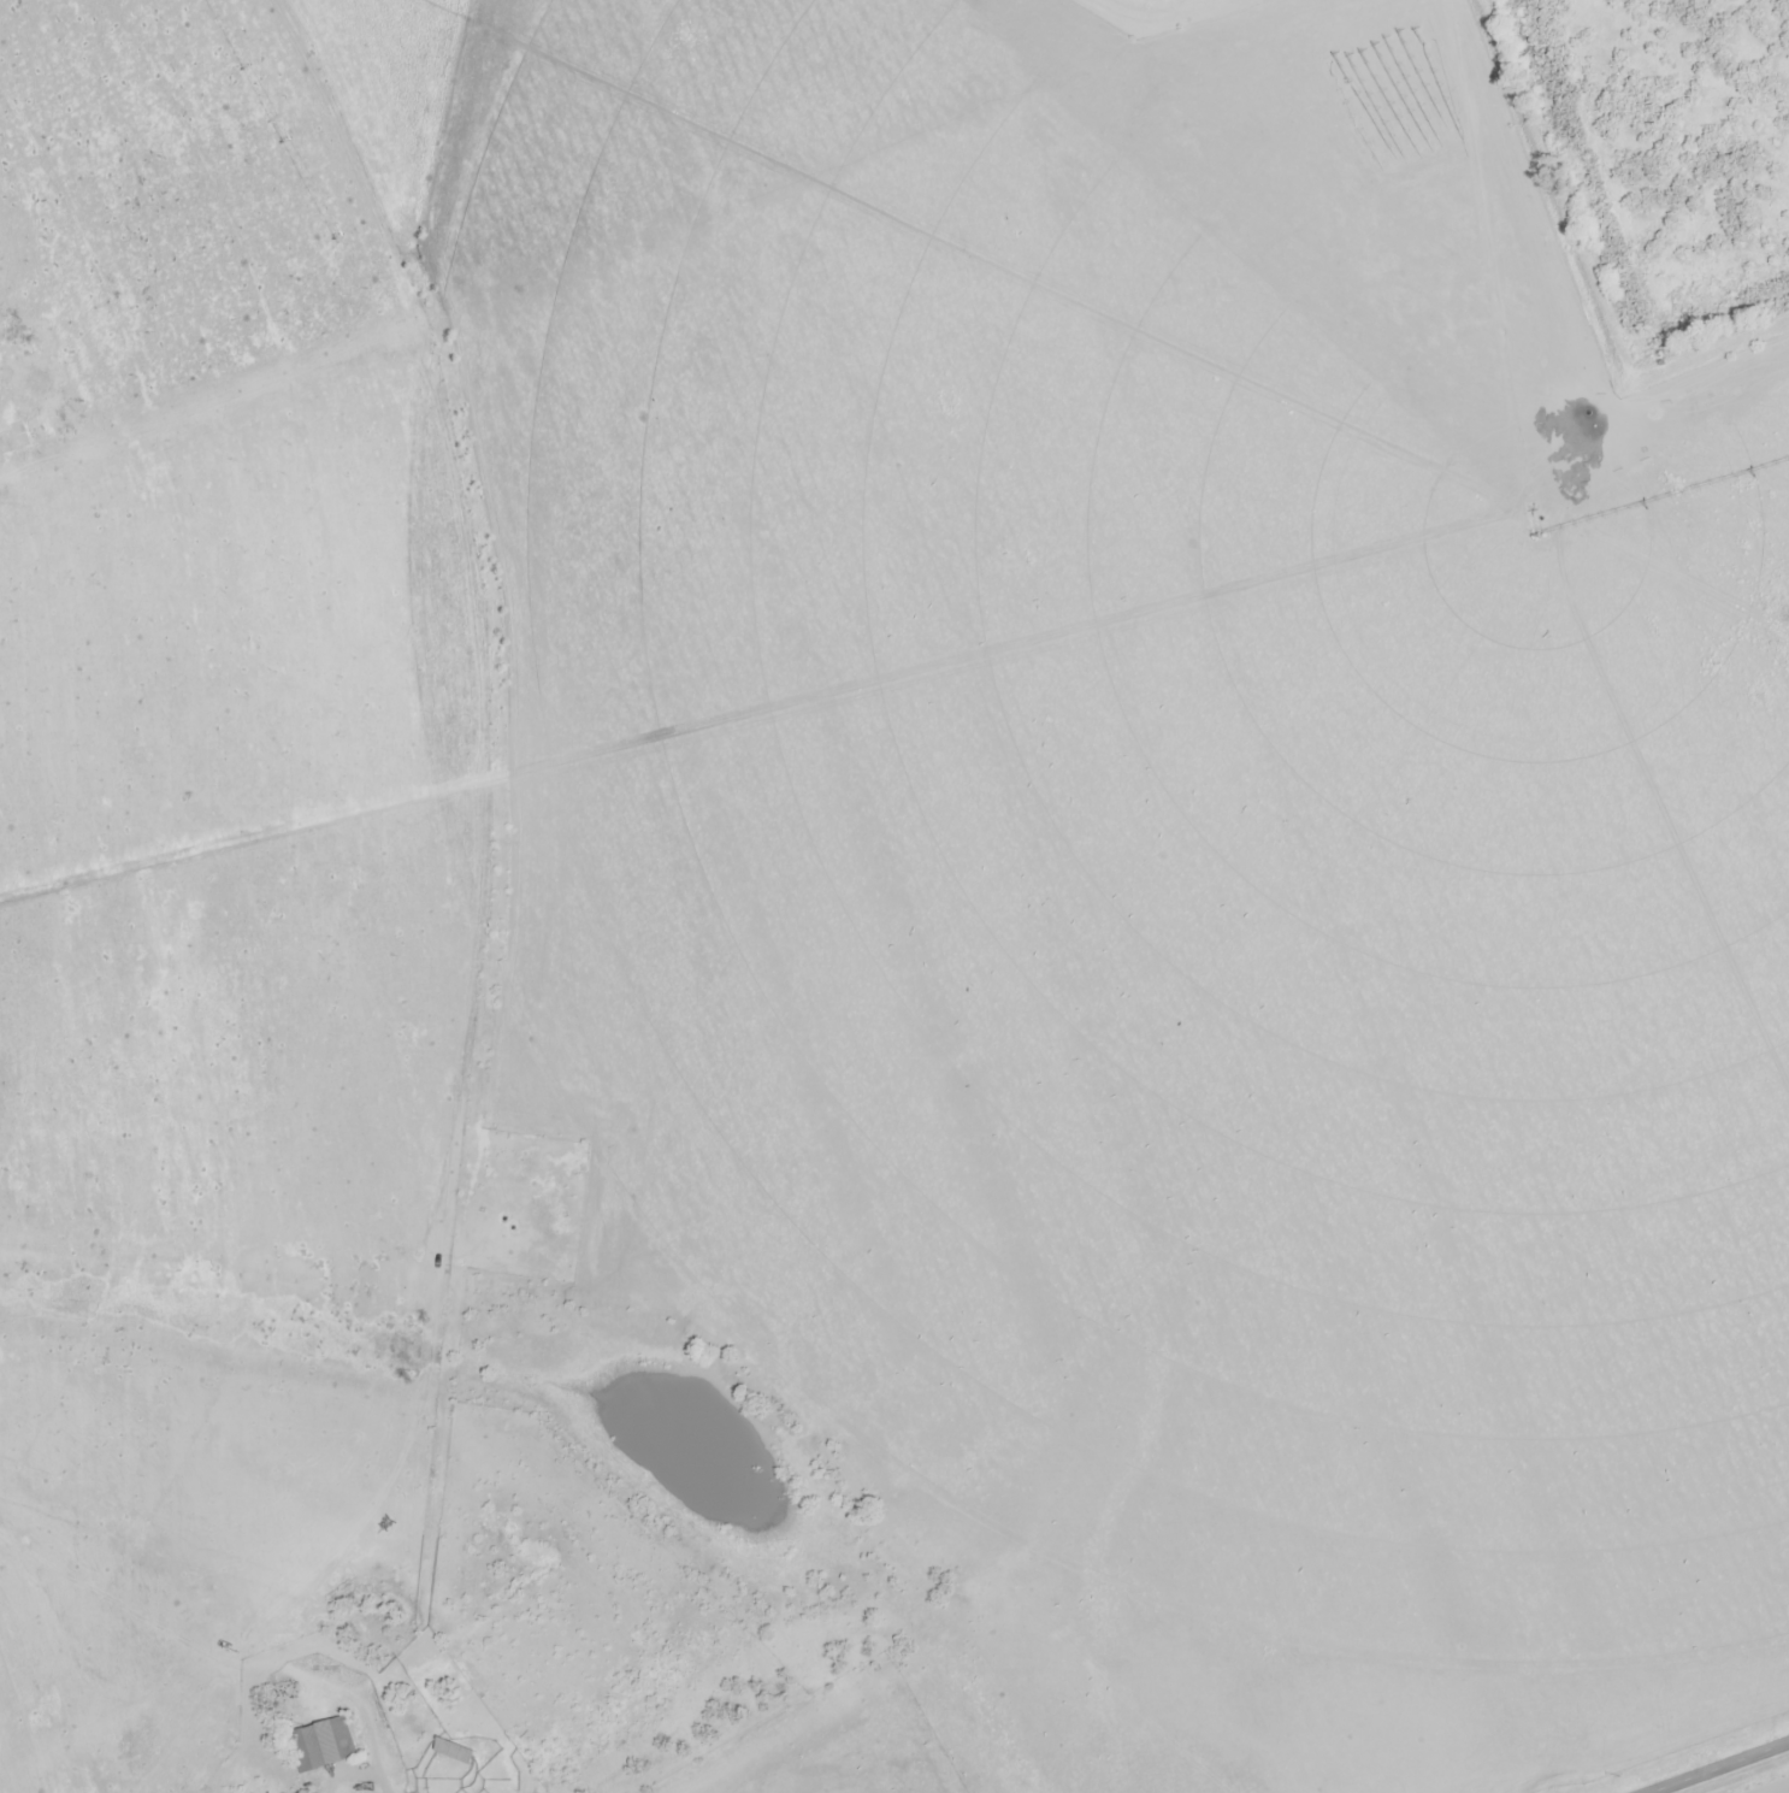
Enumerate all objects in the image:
building: (323, 1745)
building: (456, 1751)
road: (1713, 1765)

